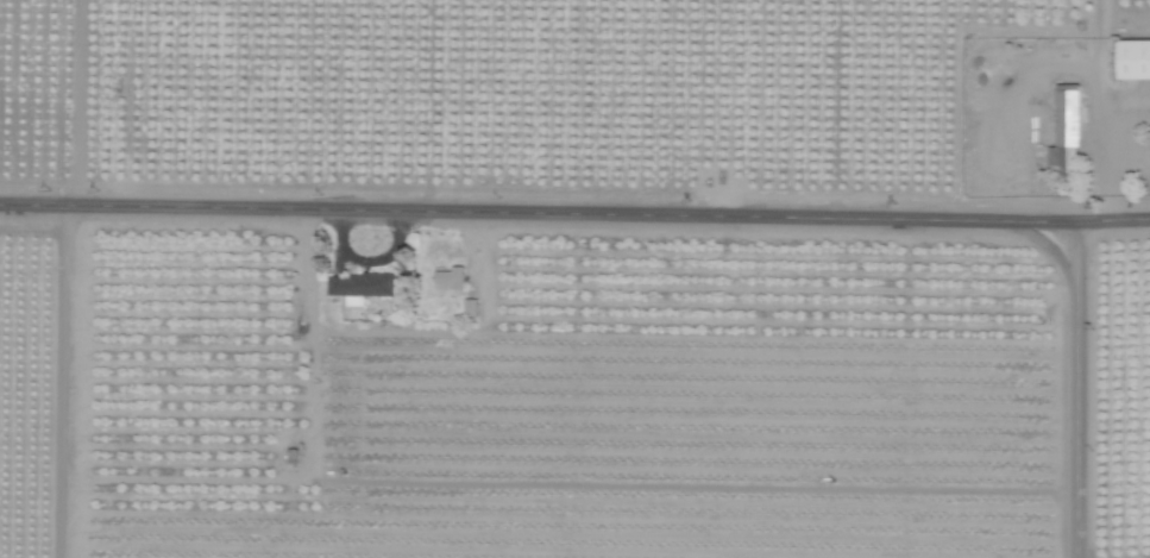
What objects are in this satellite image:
building: (1131, 58)
building: (1062, 127)
road: (574, 240)
building: (448, 278)
crop: (574, 278)
building: (359, 286)
building: (469, 307)
road: (1099, 395)

